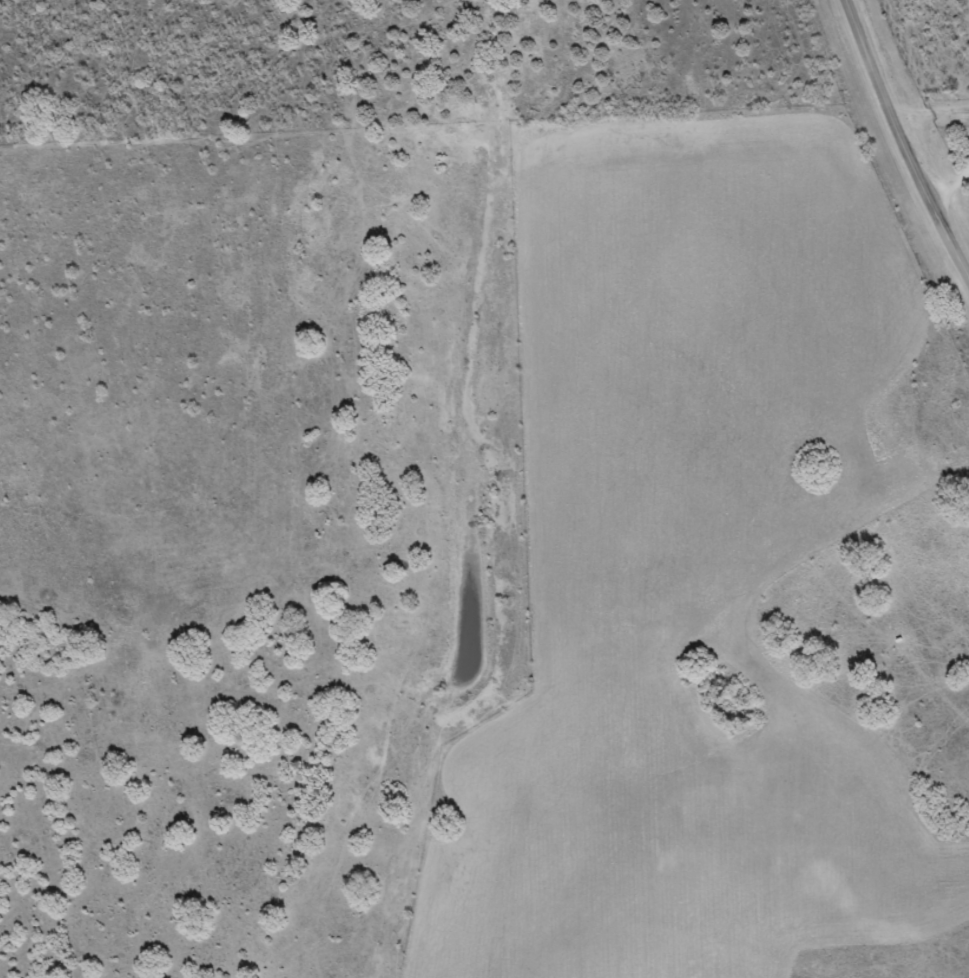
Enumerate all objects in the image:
road: (903, 139)

